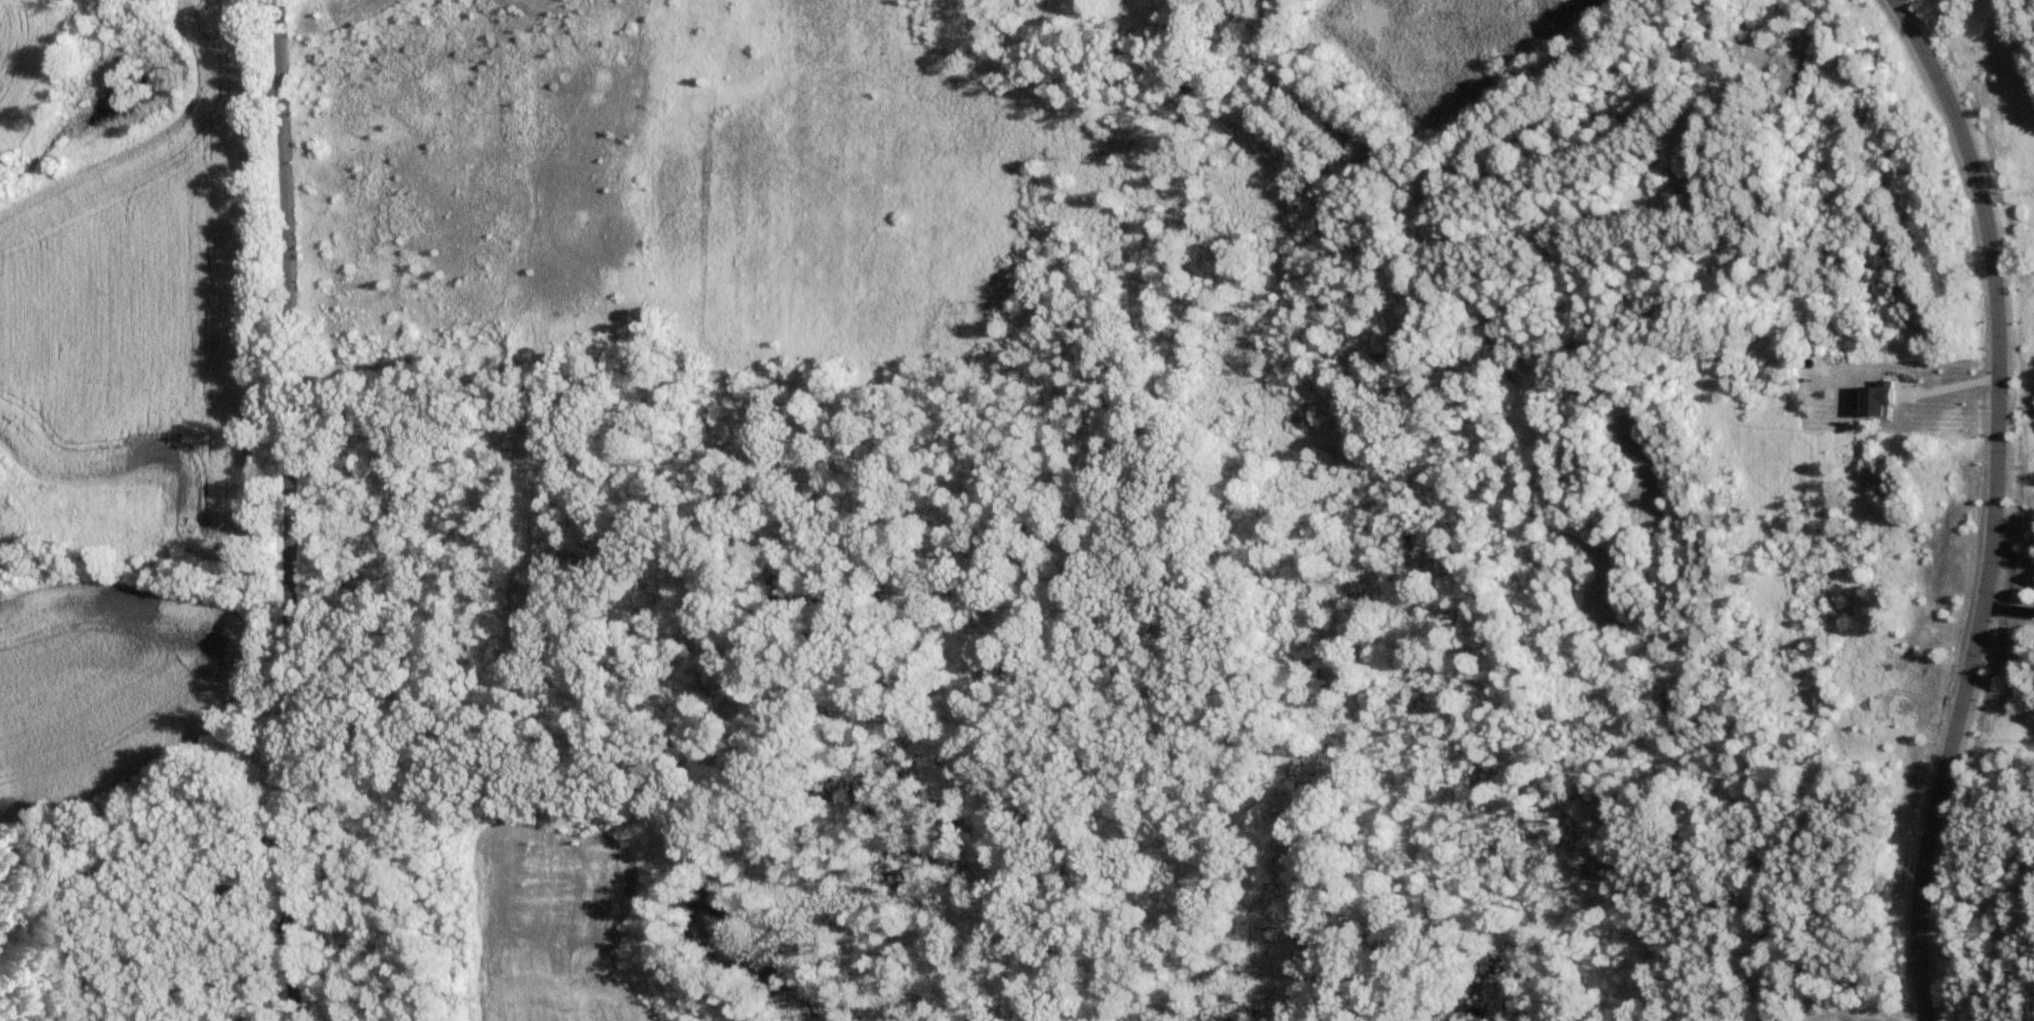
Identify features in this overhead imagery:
road: (1947, 384)
road: (1991, 500)
road: (294, 510)

